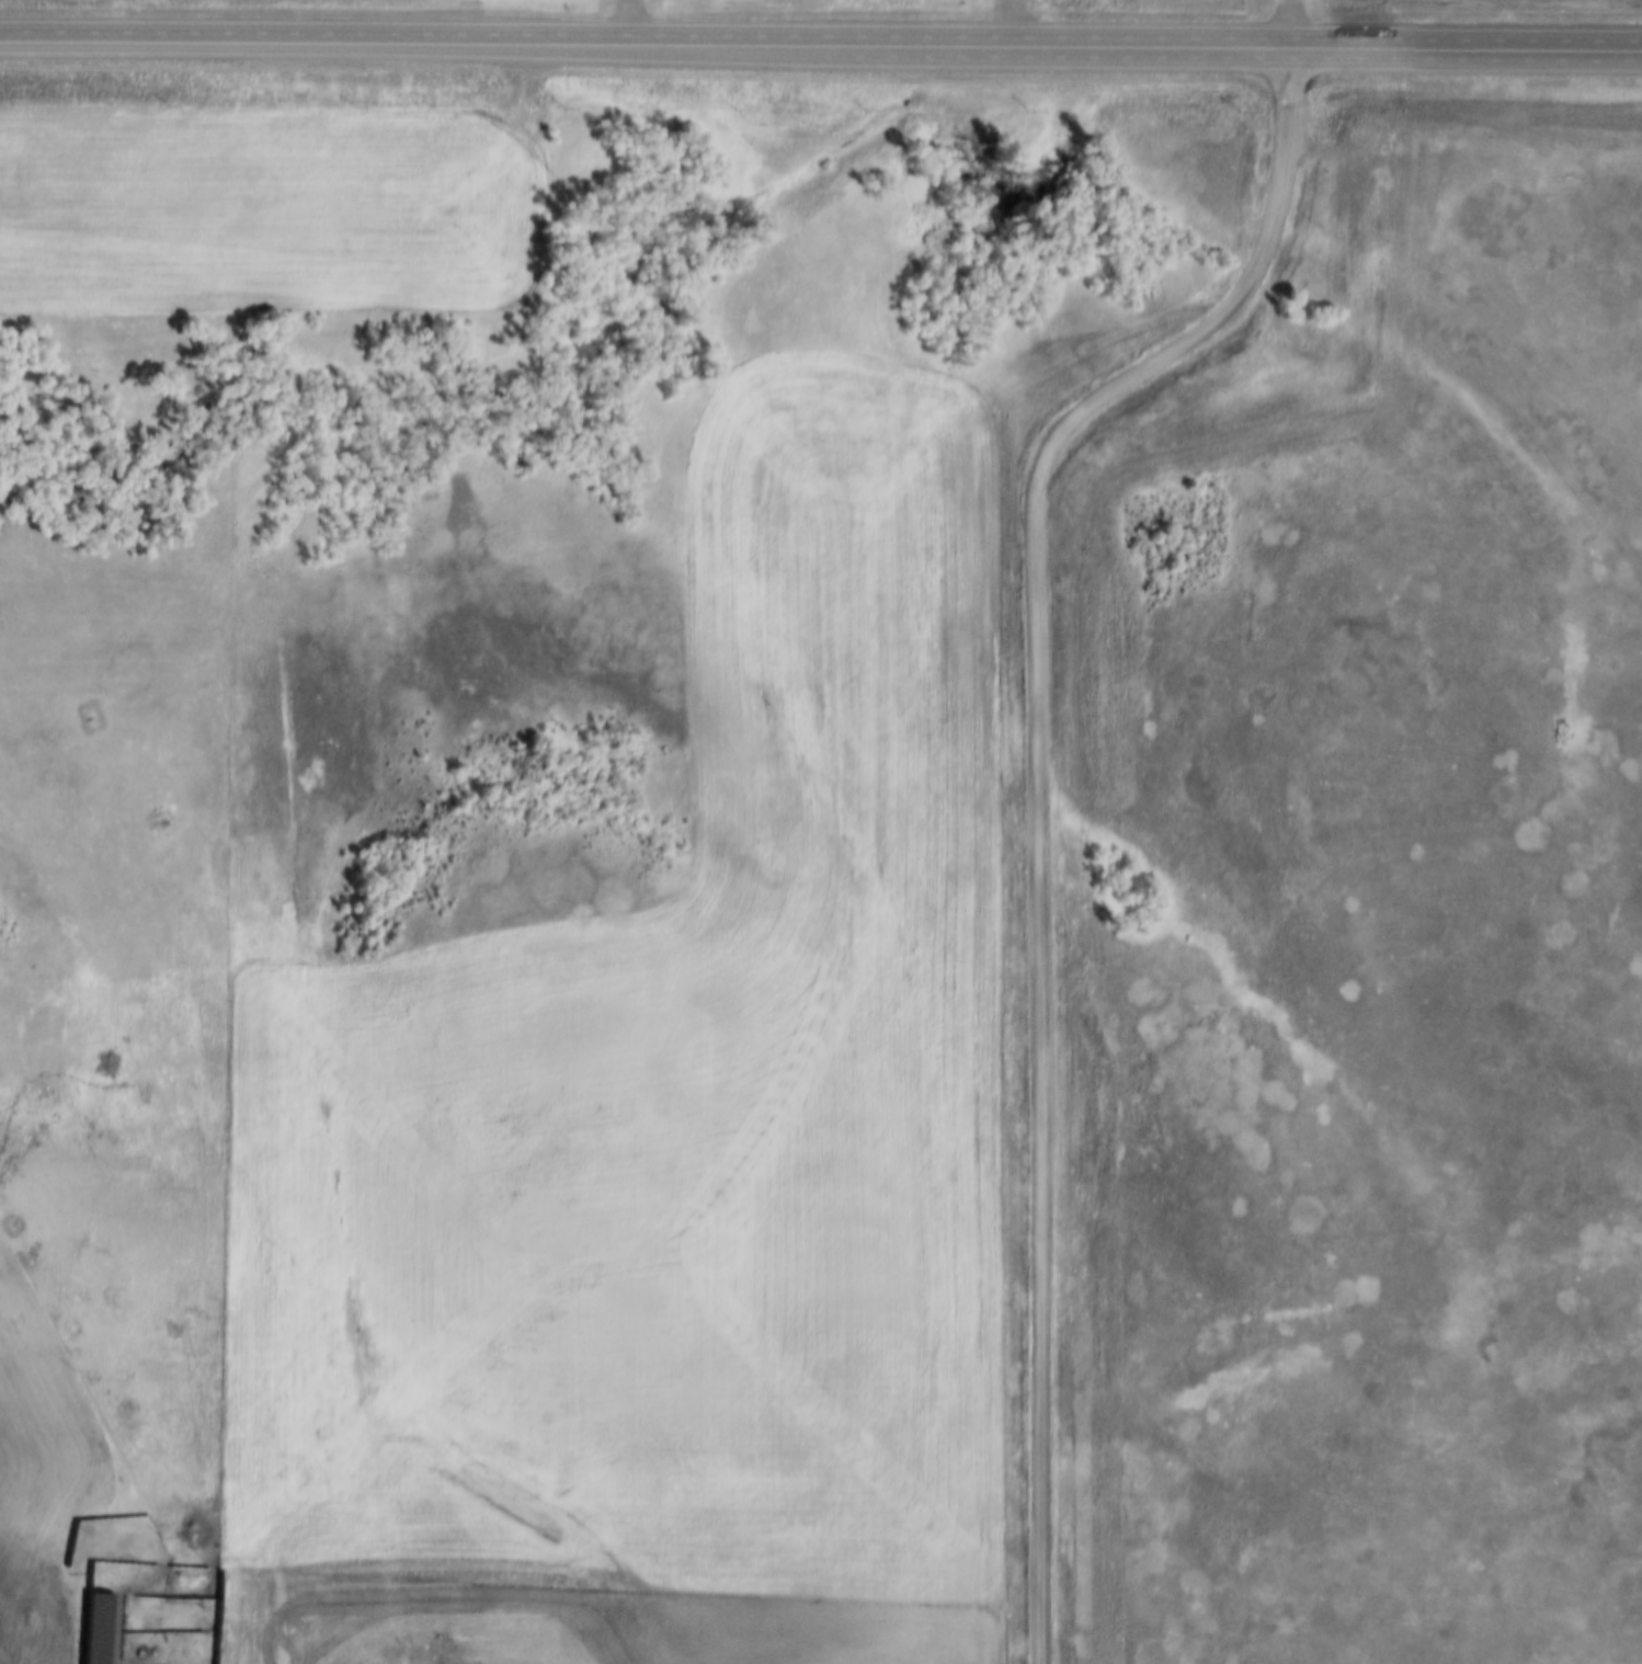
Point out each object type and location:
road: (637, 21)
road: (1002, 21)
road: (1303, 21)
road: (820, 43)
road: (1036, 798)

